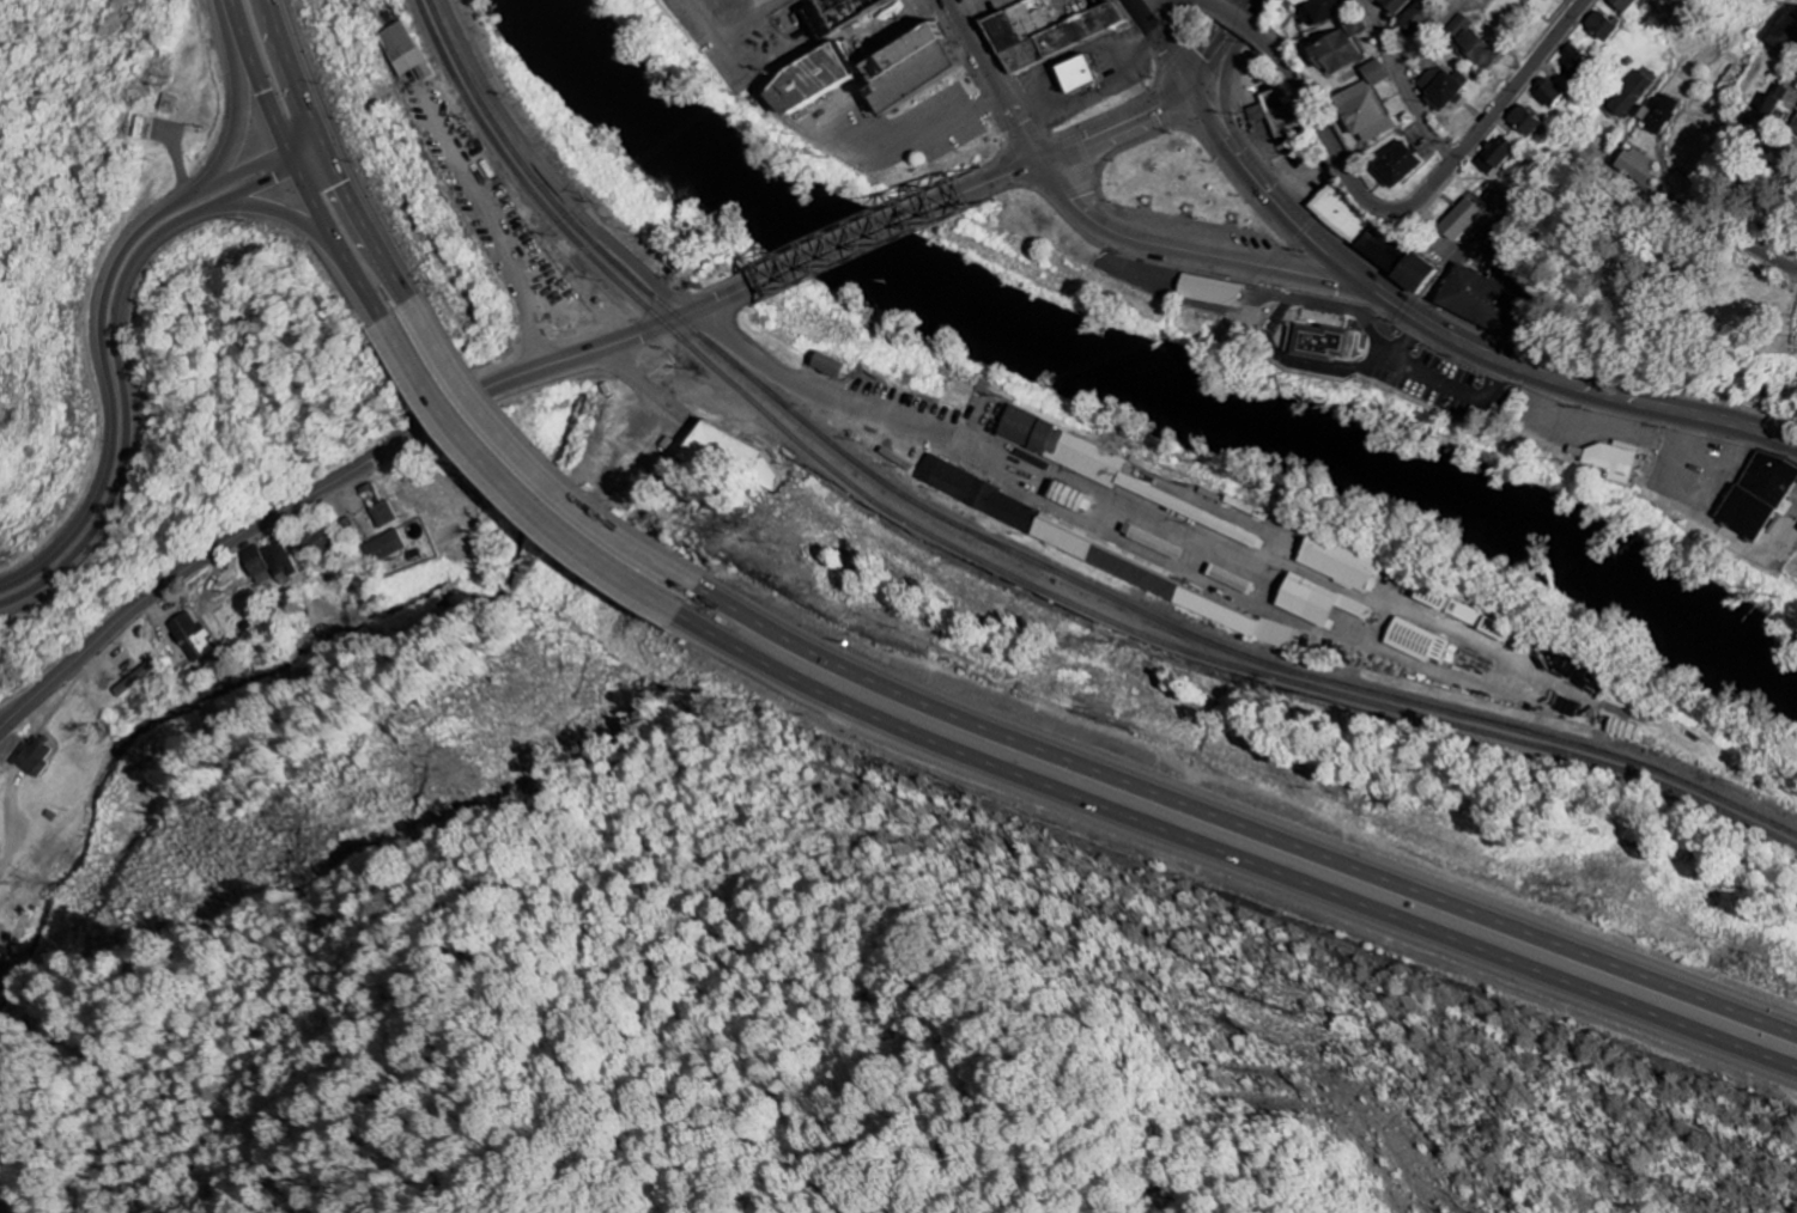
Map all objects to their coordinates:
building: (1543, 0)
building: (978, 4)
building: (1623, 5)
building: (1395, 6)
road: (1213, 7)
building: (1326, 10)
parking lot: (736, 13)
building: (1417, 20)
building: (1601, 26)
building: (1786, 36)
road: (1162, 38)
road: (1426, 39)
road: (1214, 43)
building: (1471, 44)
building: (1076, 45)
building: (1002, 53)
building: (1334, 53)
building: (405, 54)
building: (1574, 59)
building: (1020, 74)
building: (1073, 74)
building: (1376, 74)
road: (989, 84)
road: (1519, 86)
building: (1443, 87)
building: (906, 90)
road: (1396, 90)
building: (1075, 92)
building: (1549, 93)
building: (1629, 96)
building: (1783, 102)
building: (806, 106)
road: (235, 110)
building: (1364, 112)
building: (1658, 114)
building: (1279, 116)
road: (509, 120)
building: (1524, 122)
building: (1795, 128)
road: (1779, 132)
road: (1117, 133)
parking lot: (892, 140)
road: (809, 151)
road: (330, 156)
building: (1497, 156)
road: (1589, 157)
building: (1637, 163)
building: (1398, 164)
road: (298, 165)
road: (1344, 170)
road: (1020, 175)
park: (1184, 190)
road: (1276, 202)
building: (1335, 217)
building: (1463, 223)
road: (305, 226)
parking lot: (1202, 236)
road: (874, 237)
road: (1202, 252)
building: (1374, 256)
road: (645, 272)
road: (1404, 304)
building: (1483, 311)
road: (101, 324)
building: (1318, 351)
road: (119, 352)
building: (827, 366)
river: (1142, 384)
road: (1605, 394)
road: (1723, 408)
building: (706, 444)
road: (552, 451)
building: (1613, 461)
building: (1097, 467)
road: (351, 473)
road: (530, 474)
building: (976, 494)
building: (1759, 495)
building: (383, 505)
building: (354, 528)
building: (318, 537)
building: (391, 544)
railway: (1015, 547)
building: (421, 554)
building: (257, 560)
building: (284, 561)
building: (1340, 563)
railway: (998, 571)
building: (1316, 603)
building: (195, 635)
building: (1417, 644)
building: (142, 677)
building: (36, 756)
road: (1245, 821)
road: (1234, 859)

